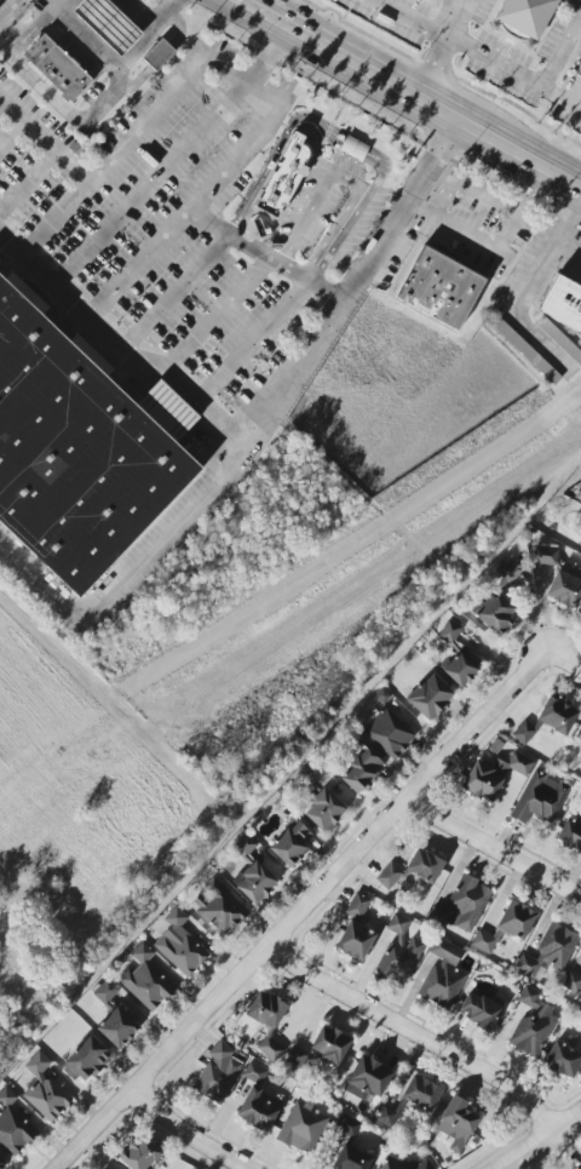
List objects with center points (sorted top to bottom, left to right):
road: (0, 0)
building: (435, 0)
building: (525, 15)
road: (413, 19)
building: (107, 23)
road: (33, 25)
road: (82, 35)
road: (443, 46)
road: (560, 50)
road: (266, 52)
building: (163, 53)
gas station: (96, 57)
building: (56, 68)
building: (579, 69)
road: (514, 73)
road: (248, 81)
road: (410, 88)
road: (97, 105)
road: (13, 133)
road: (344, 134)
road: (47, 137)
building: (353, 148)
road: (119, 153)
building: (292, 165)
road: (30, 180)
road: (153, 184)
road: (321, 200)
road: (520, 204)
road: (186, 216)
parking lot: (339, 219)
parking lot: (171, 227)
parking lot: (465, 228)
road: (472, 237)
road: (566, 247)
road: (270, 254)
building: (447, 286)
road: (523, 286)
road: (176, 291)
building: (562, 303)
road: (223, 313)
road: (259, 338)
building: (559, 339)
road: (119, 346)
building: (525, 351)
road: (293, 379)
building: (167, 408)
building: (81, 447)
building: (543, 555)
building: (510, 569)
building: (565, 588)
road: (45, 591)
building: (495, 612)
building: (449, 631)
road: (574, 663)
building: (458, 664)
building: (428, 695)
building: (557, 715)
building: (523, 732)
building: (387, 733)
building: (577, 735)
building: (359, 769)
building: (311, 773)
building: (493, 775)
building: (539, 798)
building: (322, 809)
building: (570, 833)
building: (289, 843)
building: (245, 846)
road: (497, 853)
building: (412, 869)
building: (255, 883)
building: (357, 905)
building: (461, 905)
building: (219, 909)
road: (311, 909)
building: (506, 926)
building: (355, 940)
building: (179, 944)
building: (399, 951)
building: (548, 951)
building: (443, 975)
building: (145, 980)
building: (571, 982)
building: (104, 991)
building: (265, 1009)
building: (478, 1010)
building: (531, 1022)
building: (116, 1027)
road: (408, 1039)
building: (329, 1045)
building: (270, 1048)
building: (86, 1058)
building: (295, 1059)
building: (563, 1059)
building: (217, 1073)
building: (254, 1073)
building: (367, 1078)
building: (44, 1089)
building: (420, 1093)
building: (259, 1108)
building: (455, 1123)
building: (12, 1125)
building: (301, 1128)
road: (176, 1136)
road: (534, 1136)
building: (345, 1147)
building: (139, 1153)
building: (1, 1163)
building: (402, 1164)
building: (579, 1167)

